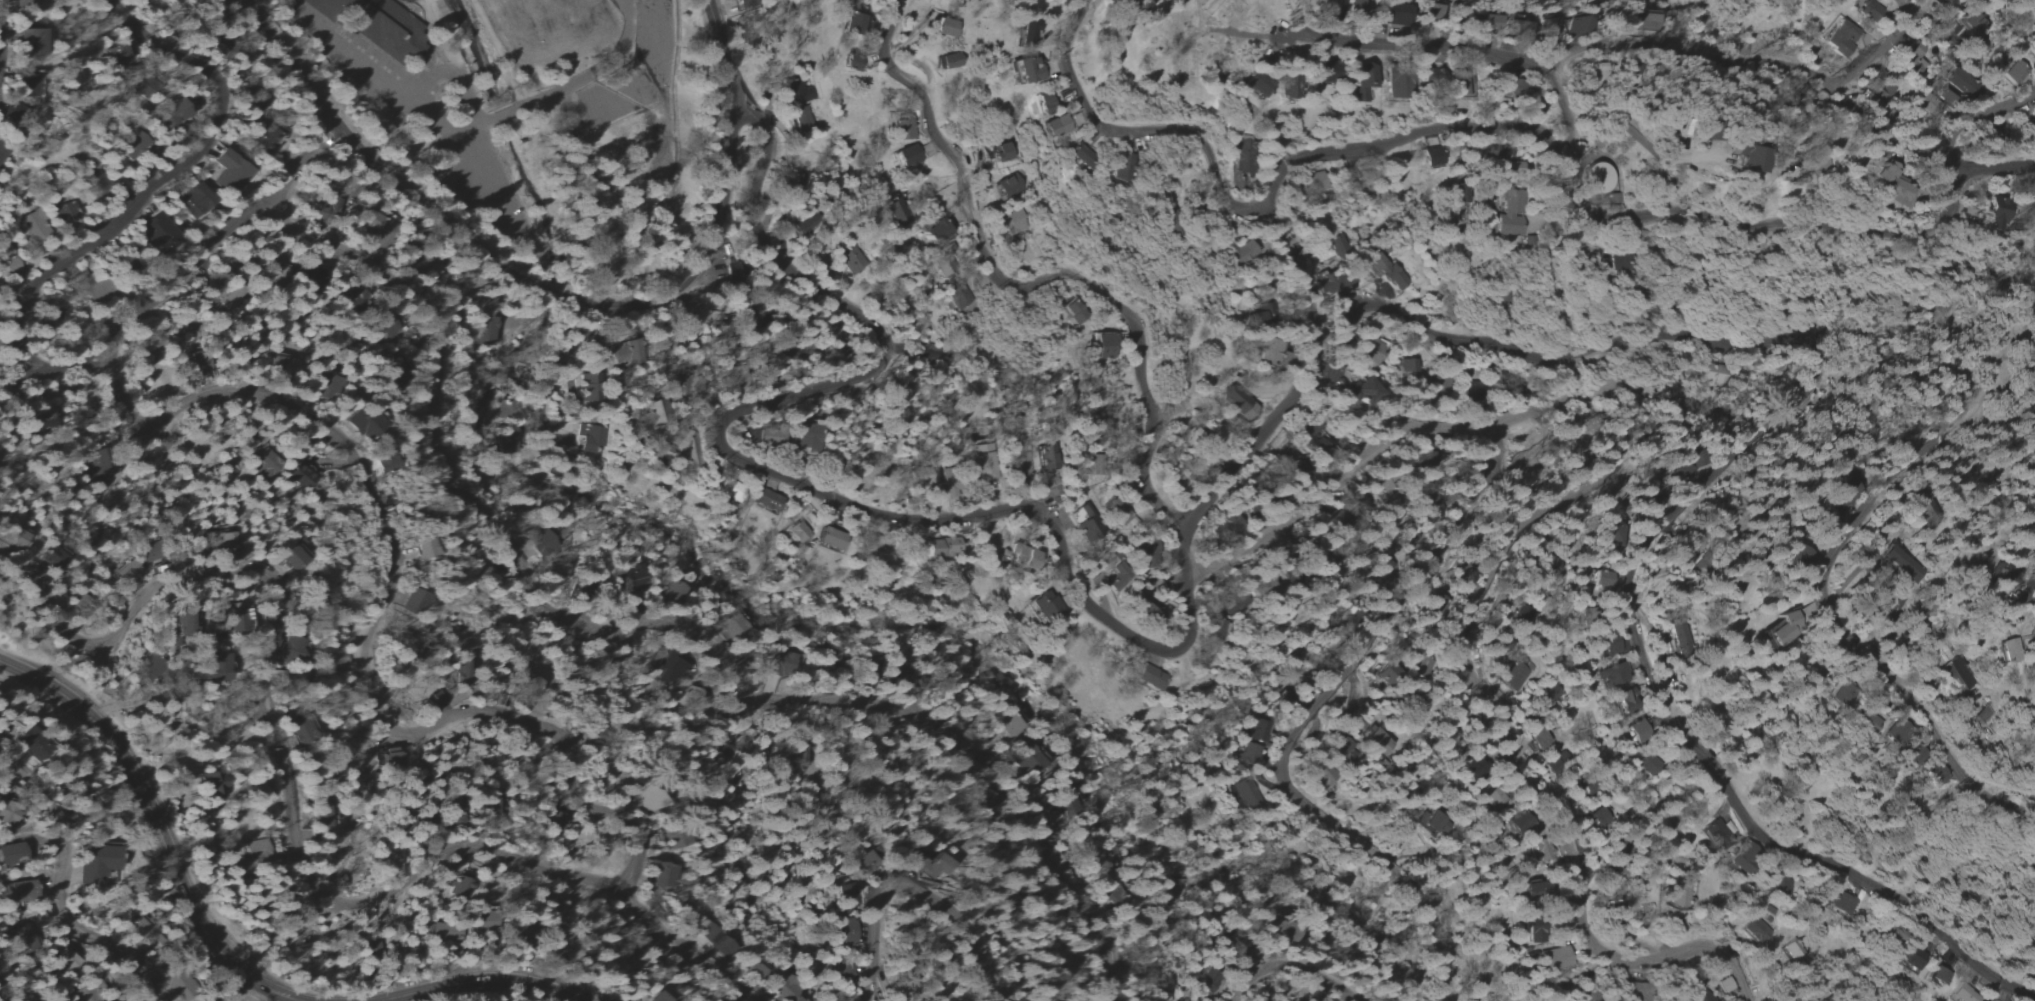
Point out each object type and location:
building: (1936, 1)
building: (24, 3)
building: (746, 4)
building: (1126, 4)
building: (1356, 9)
building: (1872, 11)
building: (1429, 12)
building: (1395, 16)
park: (537, 20)
building: (1644, 21)
building: (1972, 23)
building: (853, 24)
building: (1485, 24)
building: (378, 25)
building: (1516, 26)
building: (1575, 26)
building: (1028, 28)
building: (945, 29)
building: (1548, 29)
road: (212, 31)
building: (1843, 39)
road: (9, 40)
road: (1402, 40)
building: (31, 42)
building: (1916, 49)
road: (1883, 53)
building: (2033, 53)
building: (116, 55)
building: (949, 61)
building: (850, 63)
road: (1779, 64)
building: (1027, 71)
road: (458, 74)
building: (1362, 80)
building: (1961, 83)
road: (569, 85)
building: (1397, 85)
building: (30, 86)
building: (1257, 86)
road: (634, 87)
building: (1289, 87)
building: (1881, 89)
road: (396, 94)
building: (1044, 102)
building: (798, 103)
building: (1872, 104)
building: (1931, 105)
road: (2014, 106)
building: (16, 111)
building: (175, 112)
road: (1555, 115)
park: (536, 125)
building: (1056, 126)
road: (1623, 126)
building: (902, 127)
building: (2030, 127)
road: (1149, 133)
road: (1388, 145)
building: (1001, 152)
building: (2, 153)
building: (1243, 156)
building: (907, 157)
building: (1083, 157)
road: (456, 158)
building: (1432, 158)
road: (1948, 161)
road: (303, 162)
building: (1752, 163)
road: (1995, 167)
building: (1124, 168)
building: (230, 172)
building: (1240, 178)
building: (1597, 179)
water tower: (1593, 180)
road: (488, 182)
road: (163, 183)
building: (1008, 187)
building: (1890, 187)
building: (193, 201)
building: (335, 206)
building: (67, 211)
building: (1995, 215)
building: (892, 216)
building: (1511, 216)
road: (1751, 217)
building: (800, 225)
building: (38, 227)
building: (377, 228)
building: (935, 231)
building: (158, 232)
building: (1241, 255)
road: (1963, 256)
building: (846, 260)
building: (274, 273)
building: (1385, 273)
road: (184, 275)
road: (557, 284)
road: (1018, 288)
road: (556, 293)
building: (959, 303)
building: (1074, 312)
building: (1255, 315)
road: (1293, 318)
building: (382, 328)
road: (884, 338)
building: (1103, 346)
building: (1268, 351)
building: (631, 355)
building: (194, 365)
building: (1406, 365)
road: (53, 374)
building: (1708, 374)
road: (553, 381)
building: (1436, 386)
building: (588, 387)
building: (1362, 392)
building: (1232, 402)
building: (652, 409)
building: (364, 423)
building: (809, 437)
building: (588, 438)
building: (774, 438)
building: (684, 454)
building: (1047, 457)
road: (1242, 458)
building: (264, 462)
building: (385, 463)
building: (987, 464)
building: (99, 466)
building: (1677, 473)
building: (301, 475)
road: (1712, 478)
building: (729, 491)
building: (1841, 497)
building: (766, 501)
building: (1117, 510)
building: (1084, 524)
building: (798, 531)
road: (1527, 537)
building: (830, 539)
building: (226, 540)
building: (942, 547)
building: (425, 548)
road: (1064, 551)
building: (1146, 551)
building: (1022, 557)
building: (52, 558)
building: (291, 558)
building: (1798, 558)
building: (1899, 564)
building: (1460, 567)
building: (129, 572)
building: (2003, 574)
building: (632, 576)
building: (1118, 578)
building: (1601, 580)
building: (674, 591)
building: (414, 603)
building: (1146, 605)
building: (1040, 606)
building: (231, 617)
building: (1518, 618)
road: (664, 621)
building: (185, 623)
road: (1838, 623)
building: (735, 628)
building: (1784, 628)
building: (1681, 640)
building: (2011, 651)
building: (782, 662)
building: (216, 670)
building: (1515, 673)
building: (1610, 675)
building: (1958, 675)
building: (1389, 676)
building: (1147, 678)
building: (1846, 696)
road: (147, 697)
building: (1549, 697)
building: (693, 700)
building: (435, 701)
road: (386, 715)
building: (1983, 715)
road: (273, 718)
road: (1298, 719)
building: (1871, 721)
building: (1005, 725)
building: (6, 732)
building: (305, 732)
building: (1257, 732)
building: (1634, 732)
building: (1897, 733)
building: (1370, 740)
building: (30, 744)
building: (1337, 751)
building: (1247, 755)
building: (390, 756)
building: (1030, 760)
building: (1646, 765)
building: (1552, 766)
building: (1471, 768)
building: (212, 783)
building: (1244, 793)
building: (1491, 797)
building: (644, 800)
building: (1061, 805)
building: (453, 813)
building: (6, 817)
building: (1598, 818)
building: (1431, 822)
building: (1518, 824)
road: (158, 831)
building: (1716, 834)
building: (257, 851)
building: (1542, 853)
building: (10, 854)
building: (912, 862)
building: (95, 865)
building: (1741, 865)
building: (935, 867)
building: (661, 876)
building: (460, 885)
building: (1779, 886)
road: (924, 888)
road: (57, 889)
building: (1538, 890)
building: (17, 892)
building: (1681, 894)
building: (845, 896)
building: (1113, 896)
building: (1842, 904)
building: (1757, 930)
building: (1286, 931)
building: (443, 932)
building: (846, 933)
building: (1534, 933)
building: (22, 939)
building: (712, 940)
building: (555, 941)
building: (1792, 949)
building: (1555, 959)
building: (1912, 959)
building: (64, 961)
road: (1284, 965)
building: (751, 969)
building: (1939, 976)
road: (484, 978)
building: (845, 980)
building: (1209, 981)
building: (1726, 986)
building: (1640, 988)
road: (251, 993)
building: (1963, 994)
building: (654, 997)

